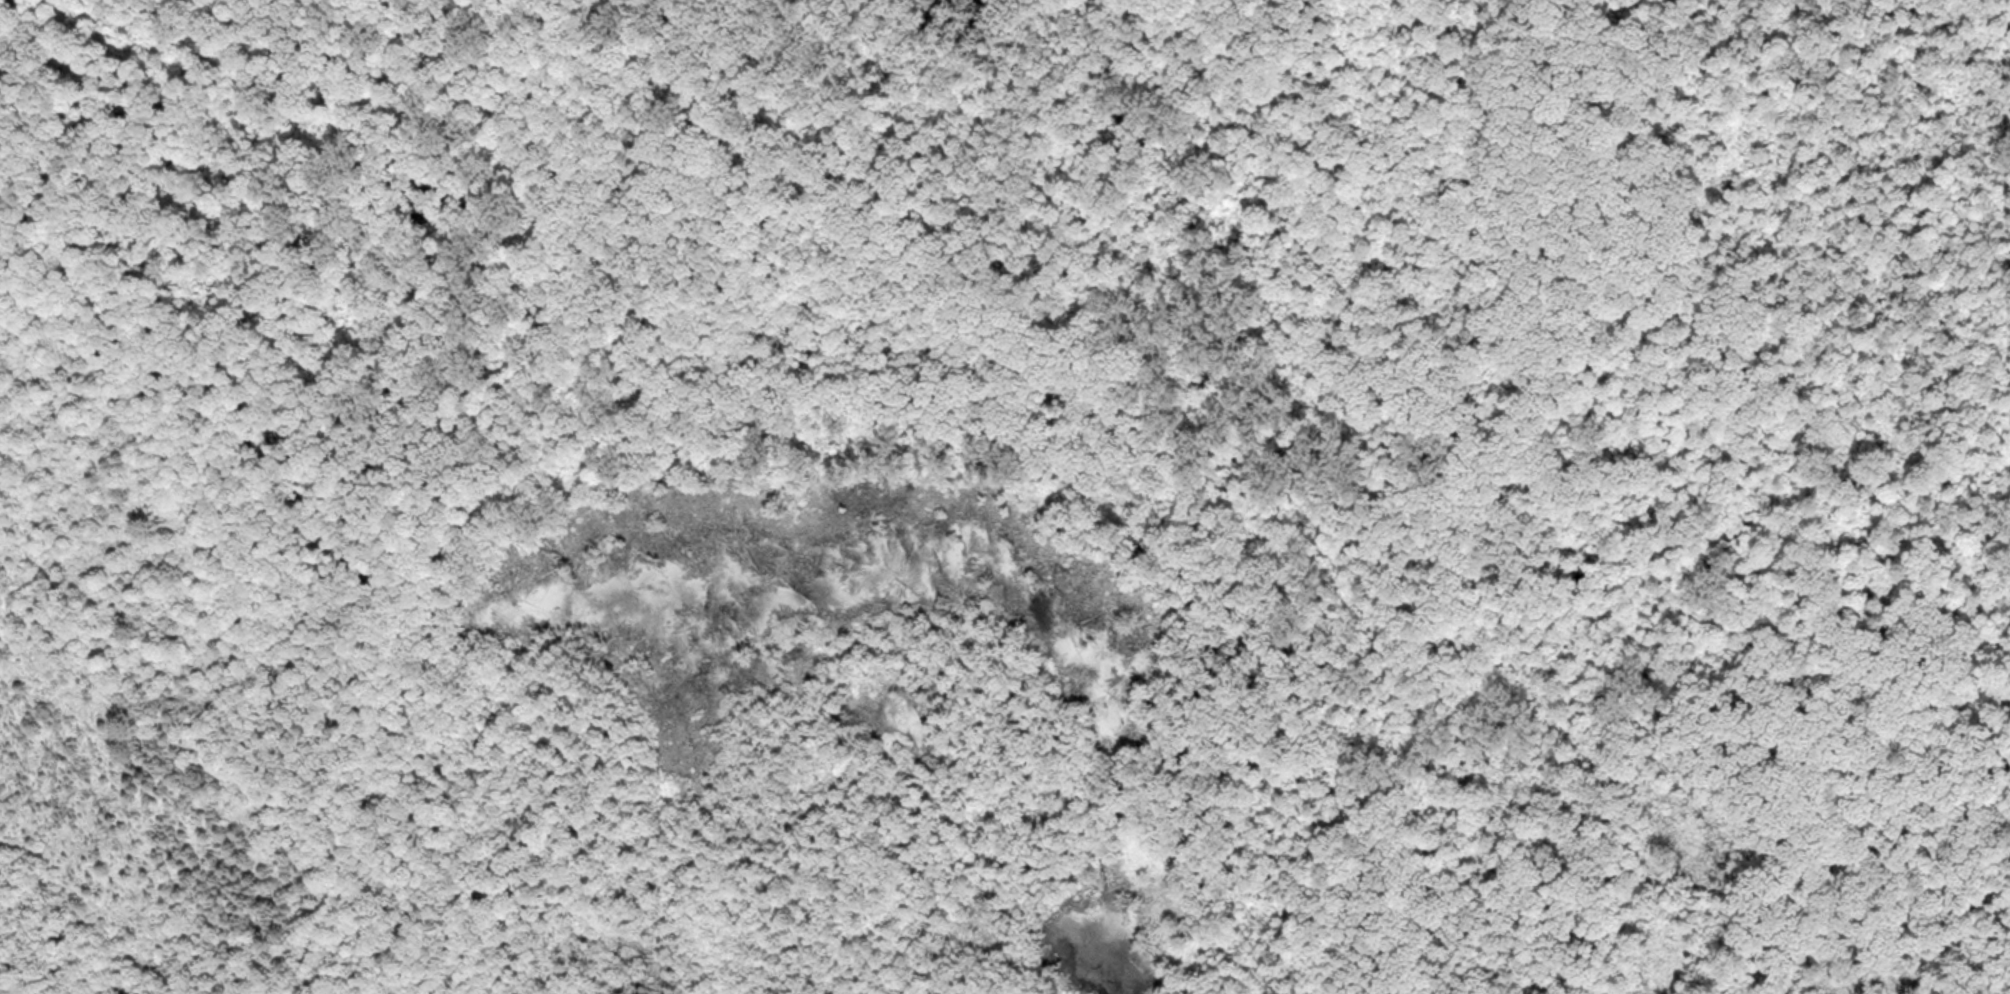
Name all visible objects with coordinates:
park: (1004, 496)

